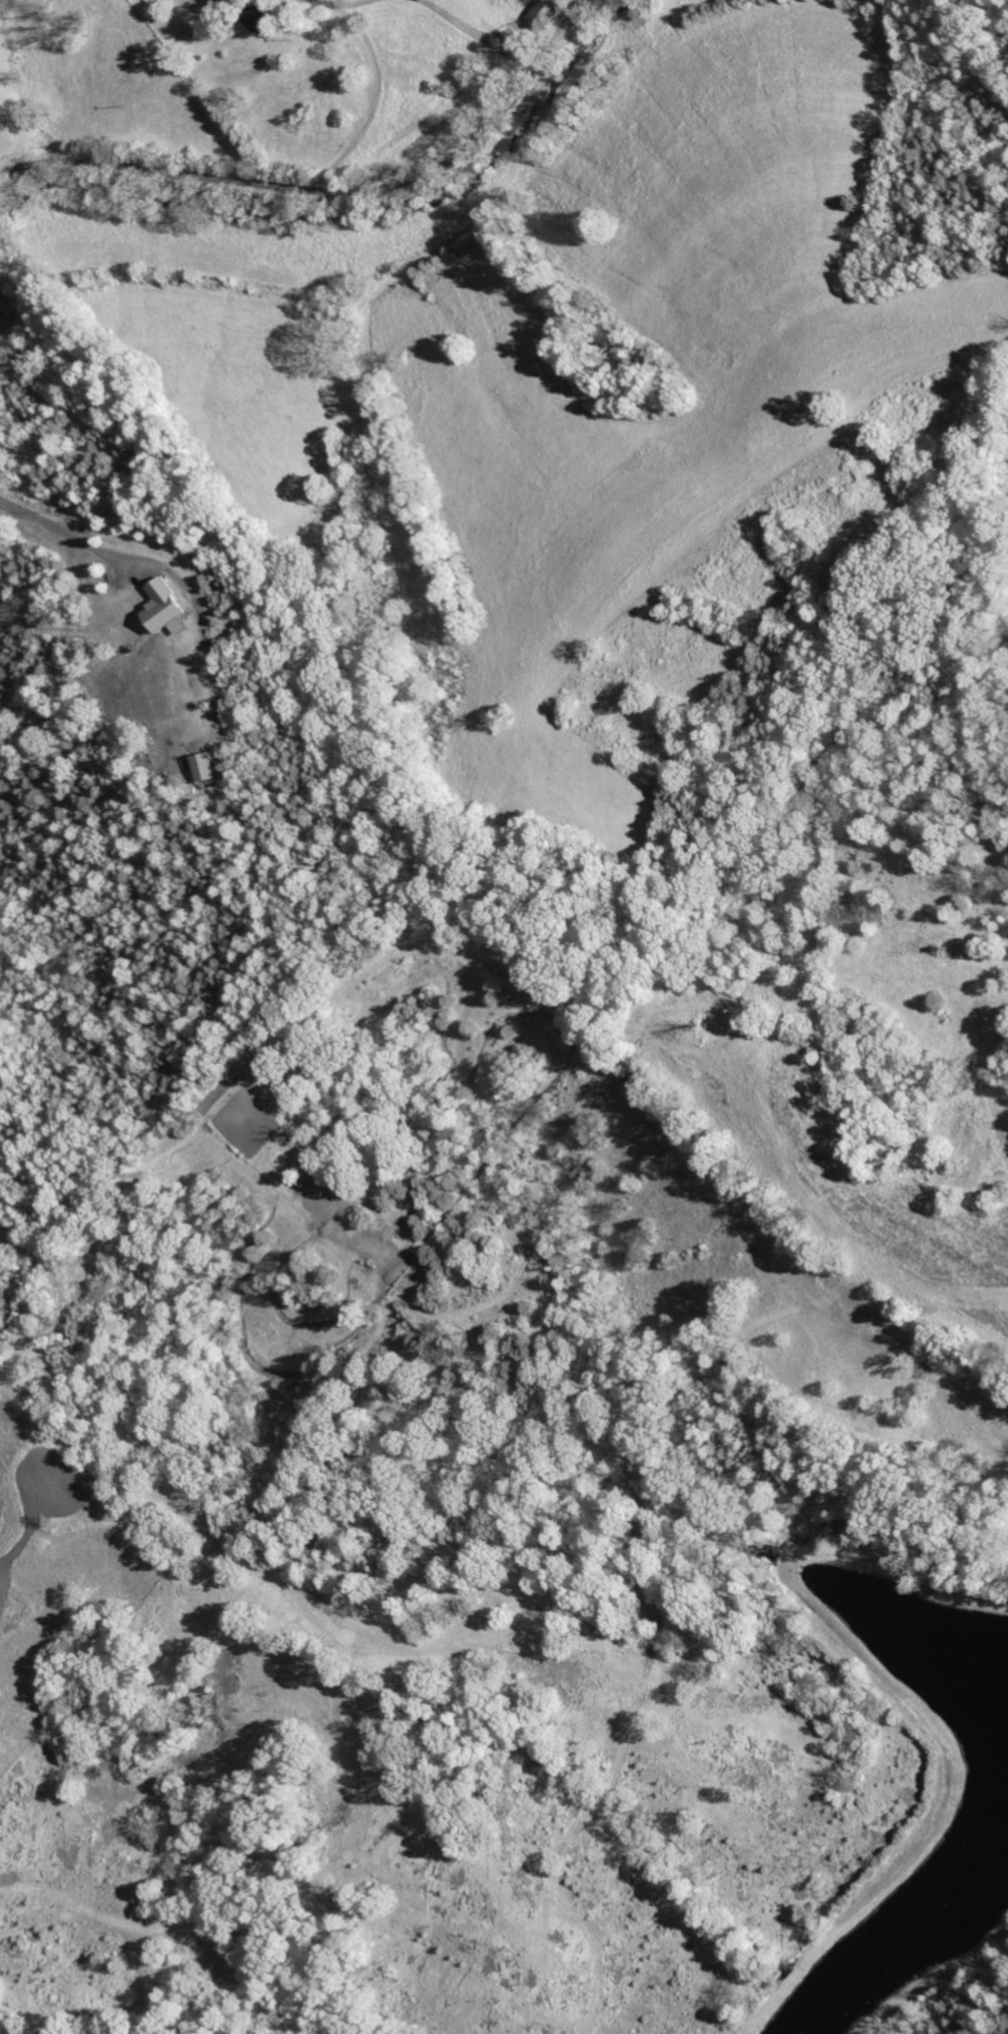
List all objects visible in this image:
building: (546, 14)
road: (484, 26)
road: (380, 87)
road: (328, 188)
building: (168, 610)
building: (206, 769)

